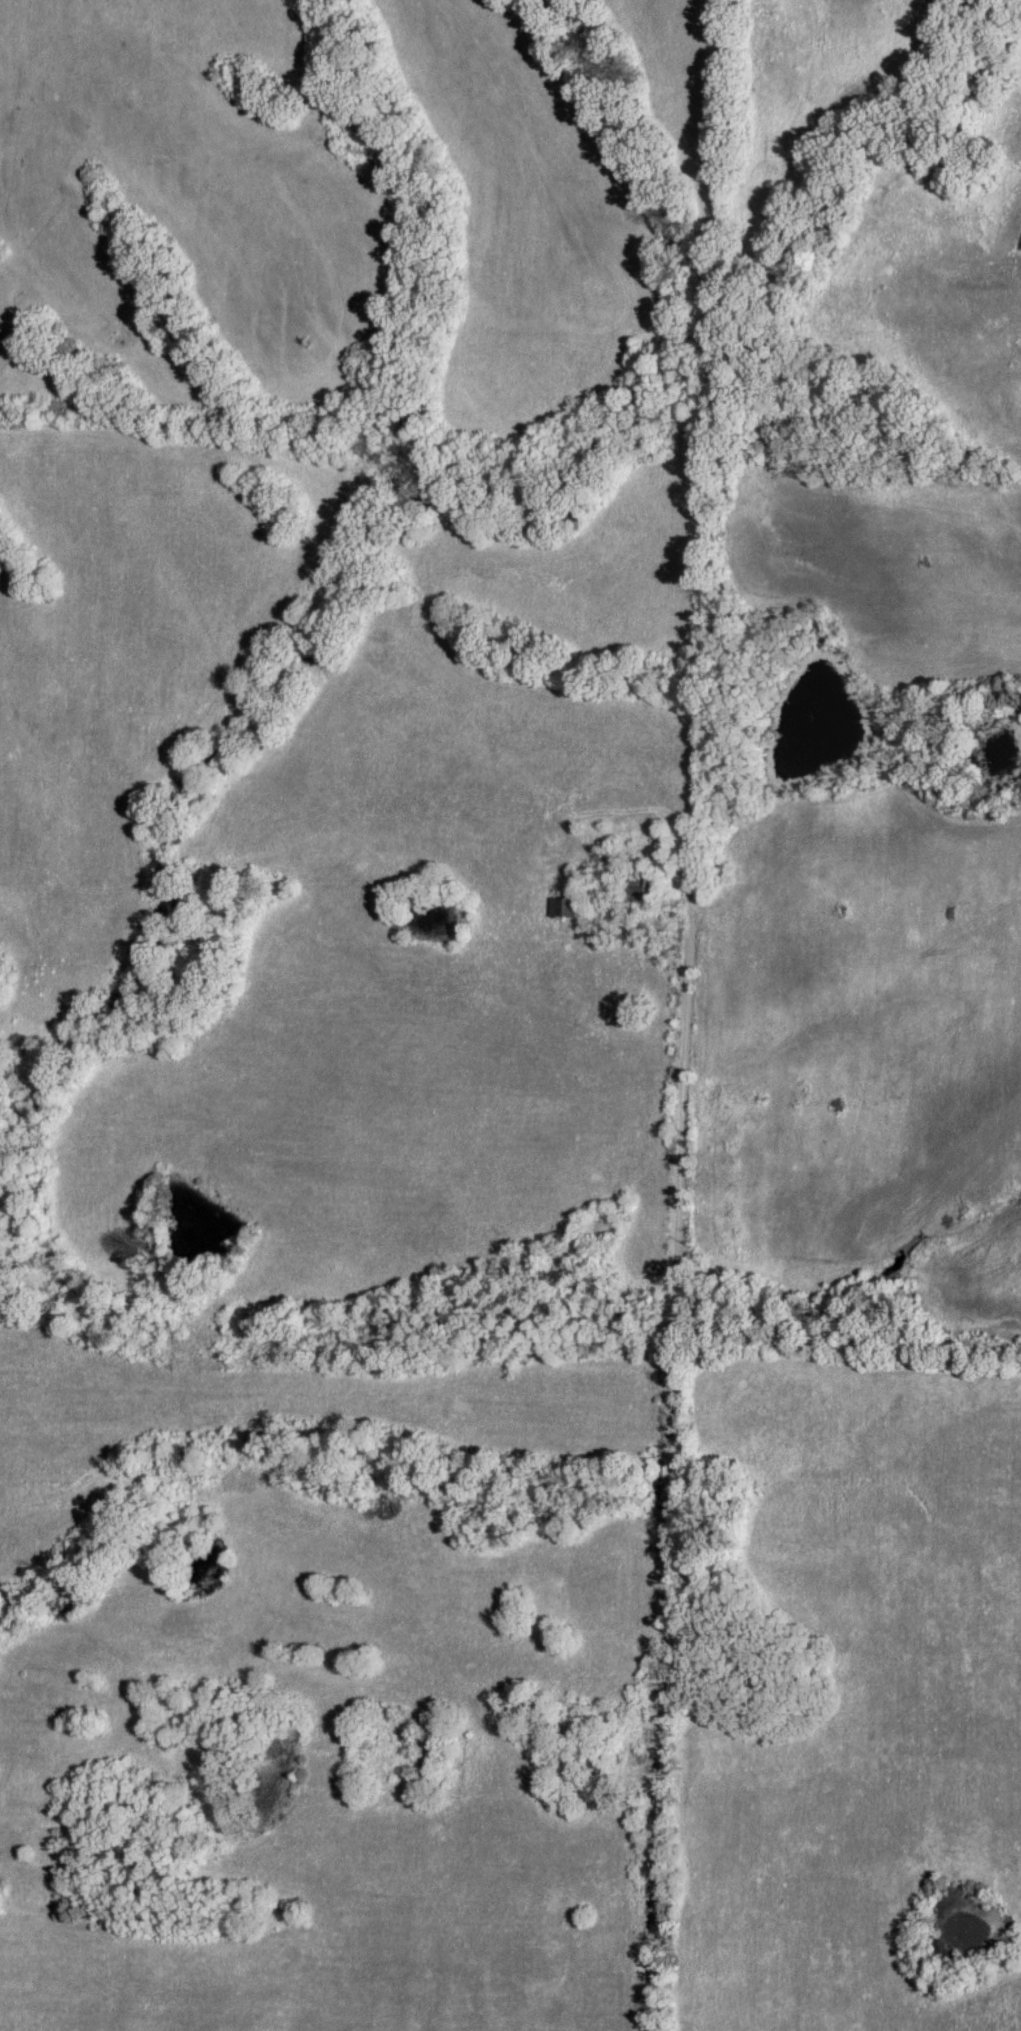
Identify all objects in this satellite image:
building: (643, 892)
road: (663, 1476)

